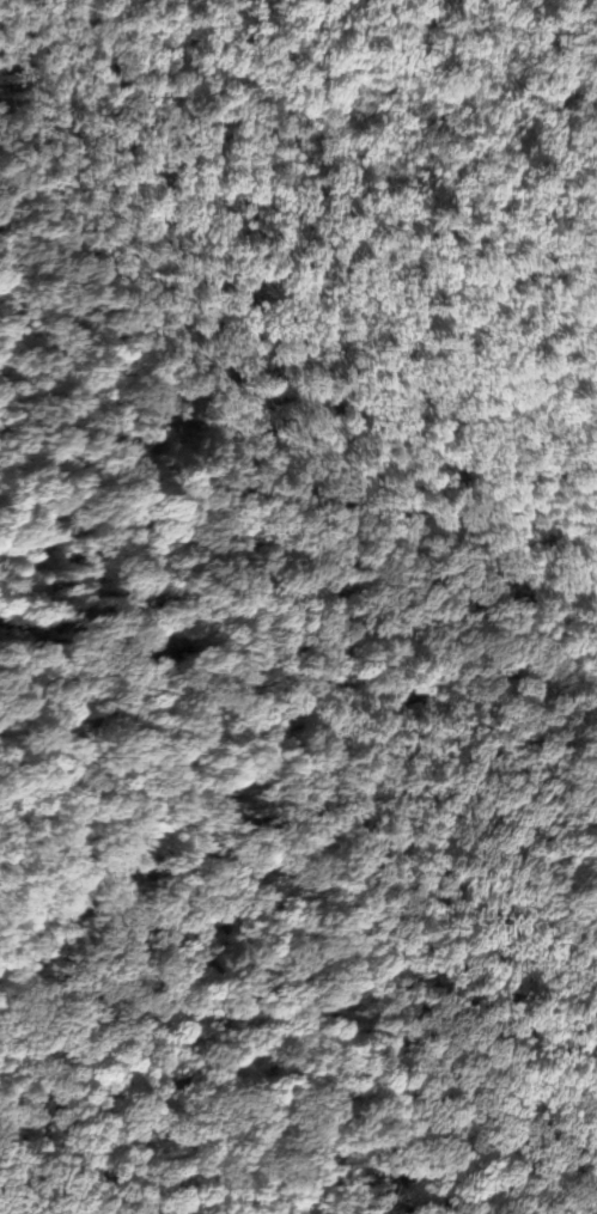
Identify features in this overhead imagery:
road: (5, 1206)

